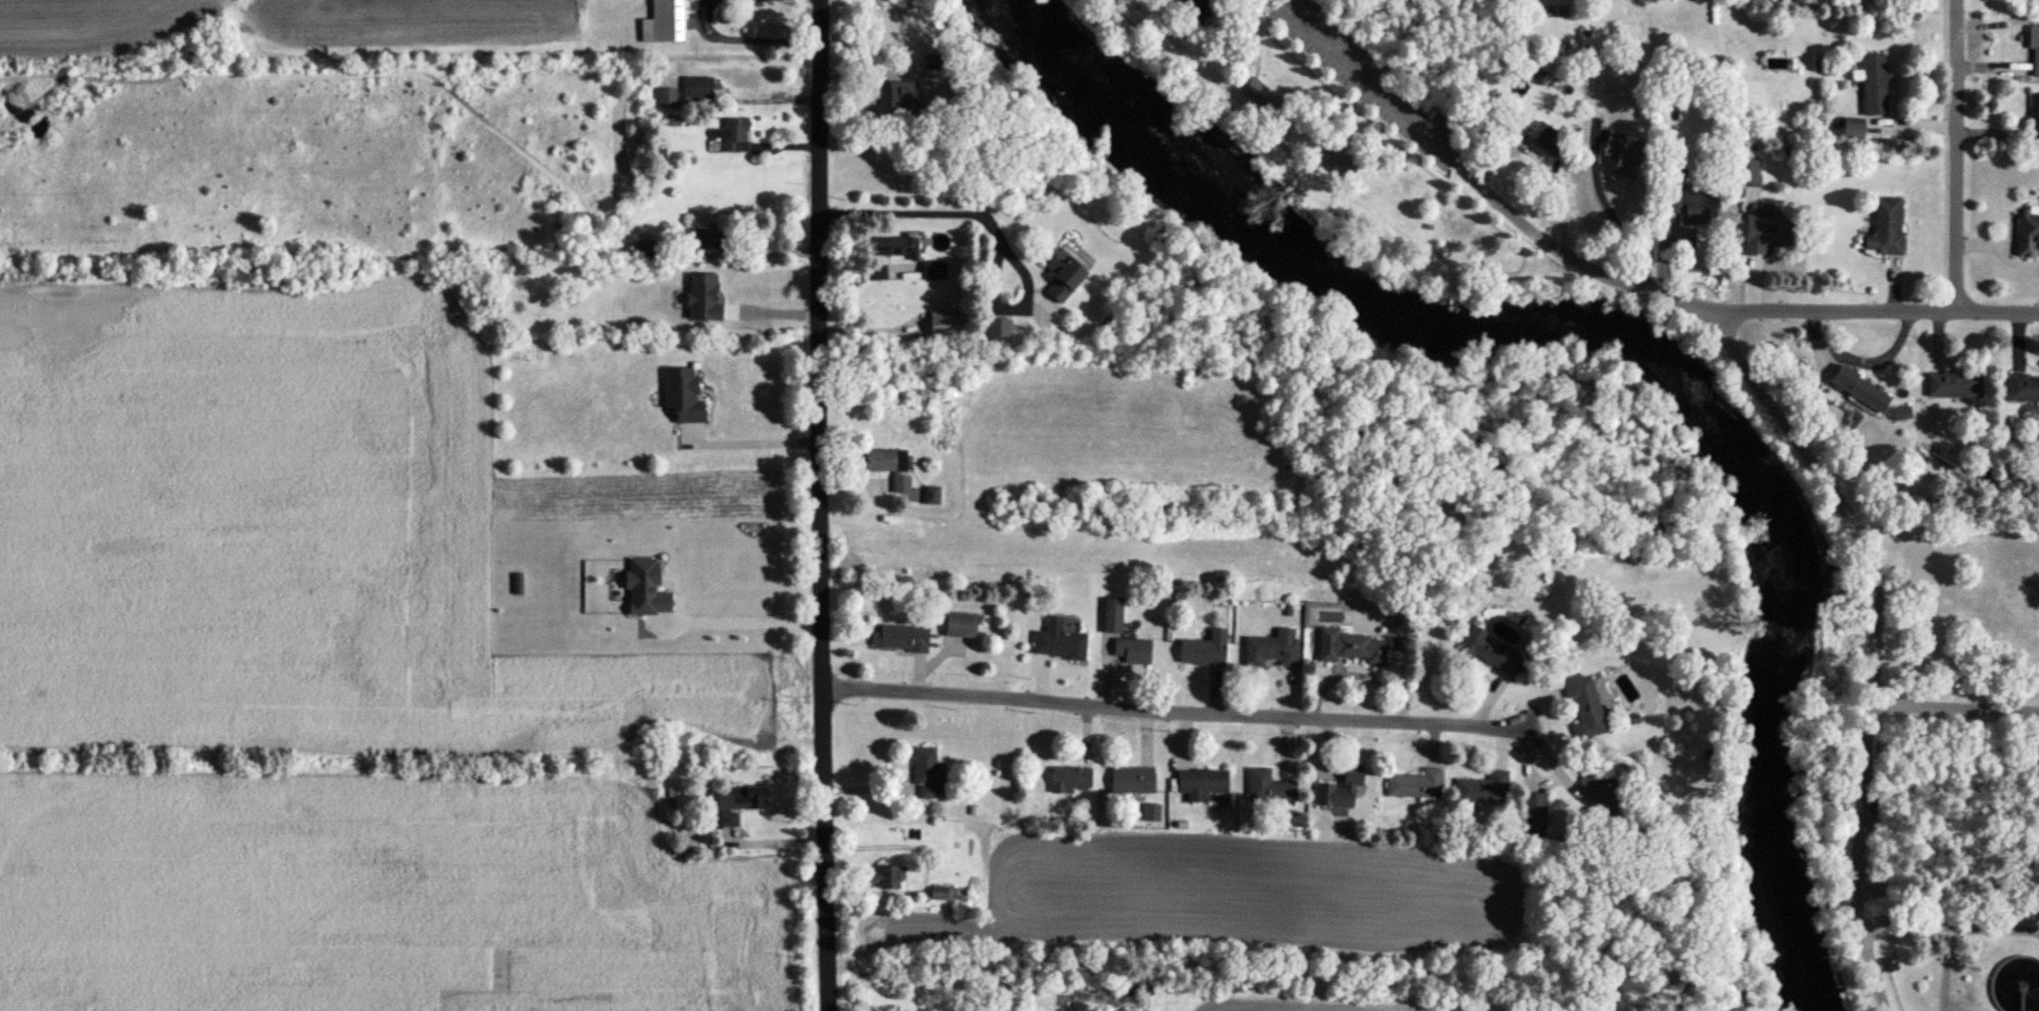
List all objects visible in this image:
road: (1269, 6)
building: (663, 23)
road: (745, 39)
road: (1259, 41)
building: (2034, 49)
road: (1245, 60)
building: (744, 76)
building: (1675, 84)
building: (1873, 86)
building: (696, 89)
building: (1258, 94)
building: (899, 99)
road: (1345, 116)
building: (2034, 119)
building: (1852, 128)
building: (732, 136)
building: (1545, 140)
building: (1619, 156)
road: (1958, 156)
building: (1334, 160)
building: (1689, 205)
building: (1886, 228)
road: (1612, 231)
road: (992, 234)
building: (2027, 235)
building: (701, 239)
building: (890, 247)
road: (755, 257)
road: (1468, 266)
building: (932, 270)
building: (1060, 275)
building: (749, 298)
road: (1867, 312)
building: (997, 327)
river: (1625, 338)
building: (1954, 385)
building: (2023, 389)
building: (1856, 390)
building: (681, 394)
road: (1770, 405)
building: (1900, 413)
road: (758, 442)
building: (881, 460)
building: (930, 496)
road: (826, 505)
park: (1801, 505)
building: (1534, 578)
building: (1111, 616)
building: (958, 625)
road: (743, 631)
building: (899, 638)
building: (1057, 642)
building: (1351, 647)
building: (1203, 650)
building: (1132, 652)
building: (1269, 652)
building: (1490, 652)
building: (1583, 707)
road: (1956, 708)
road: (1187, 710)
building: (926, 772)
building: (1070, 780)
building: (1132, 780)
building: (1200, 783)
building: (1415, 784)
building: (1268, 786)
building: (1339, 789)
building: (1482, 789)
building: (1595, 790)
building: (736, 803)
building: (1151, 813)
building: (1531, 815)
building: (889, 878)
building: (942, 893)
building: (1127, 988)

